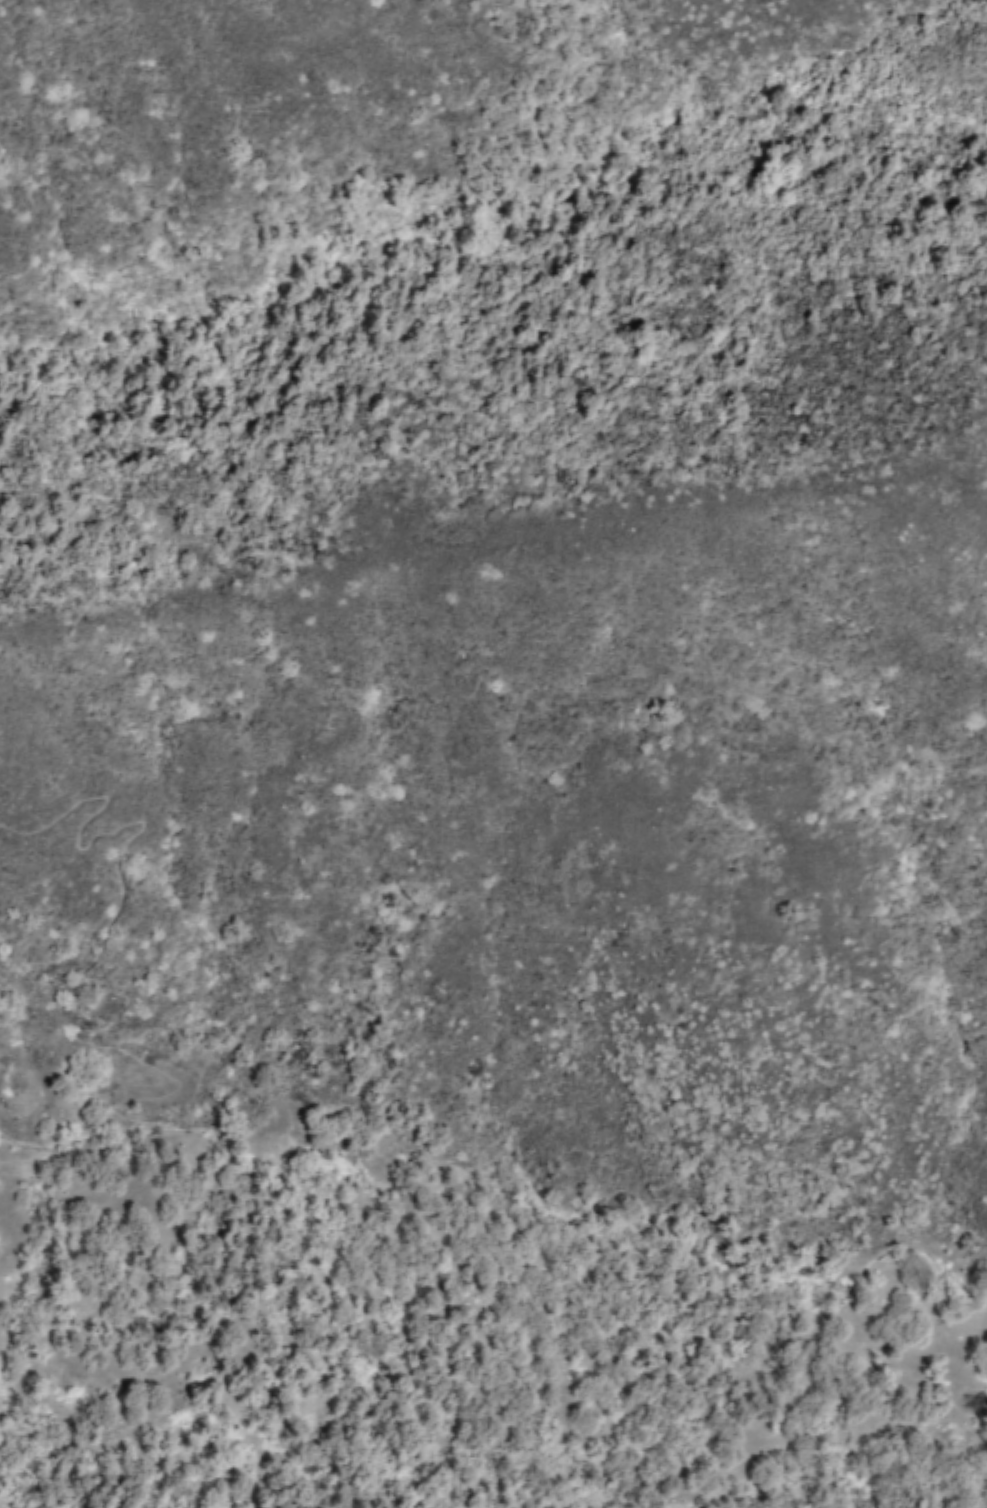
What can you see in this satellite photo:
road: (234, 1142)
road: (77, 1151)

